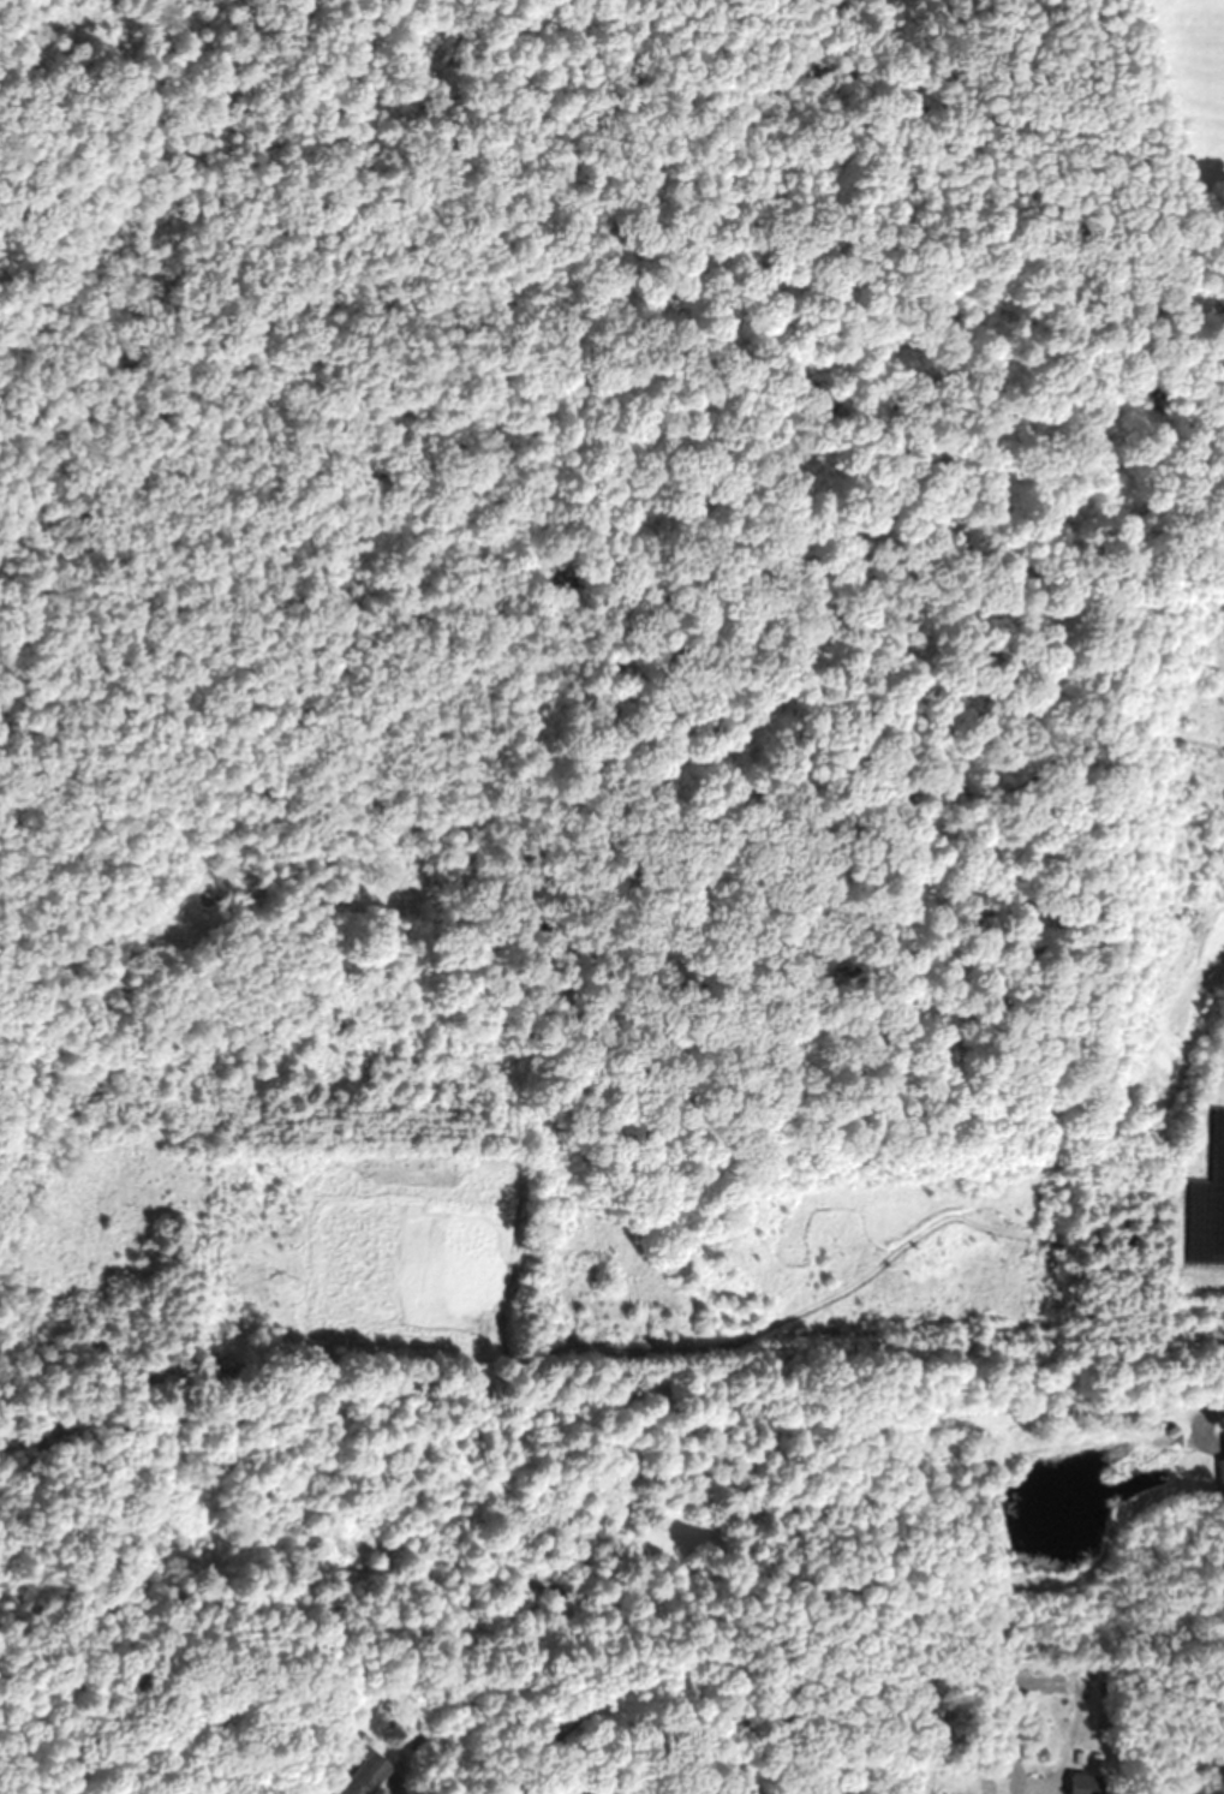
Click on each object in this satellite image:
crop: (1186, 79)
crop: (1196, 1203)
road: (1205, 1426)
building: (1220, 1465)
building: (368, 1775)
building: (1079, 1784)

